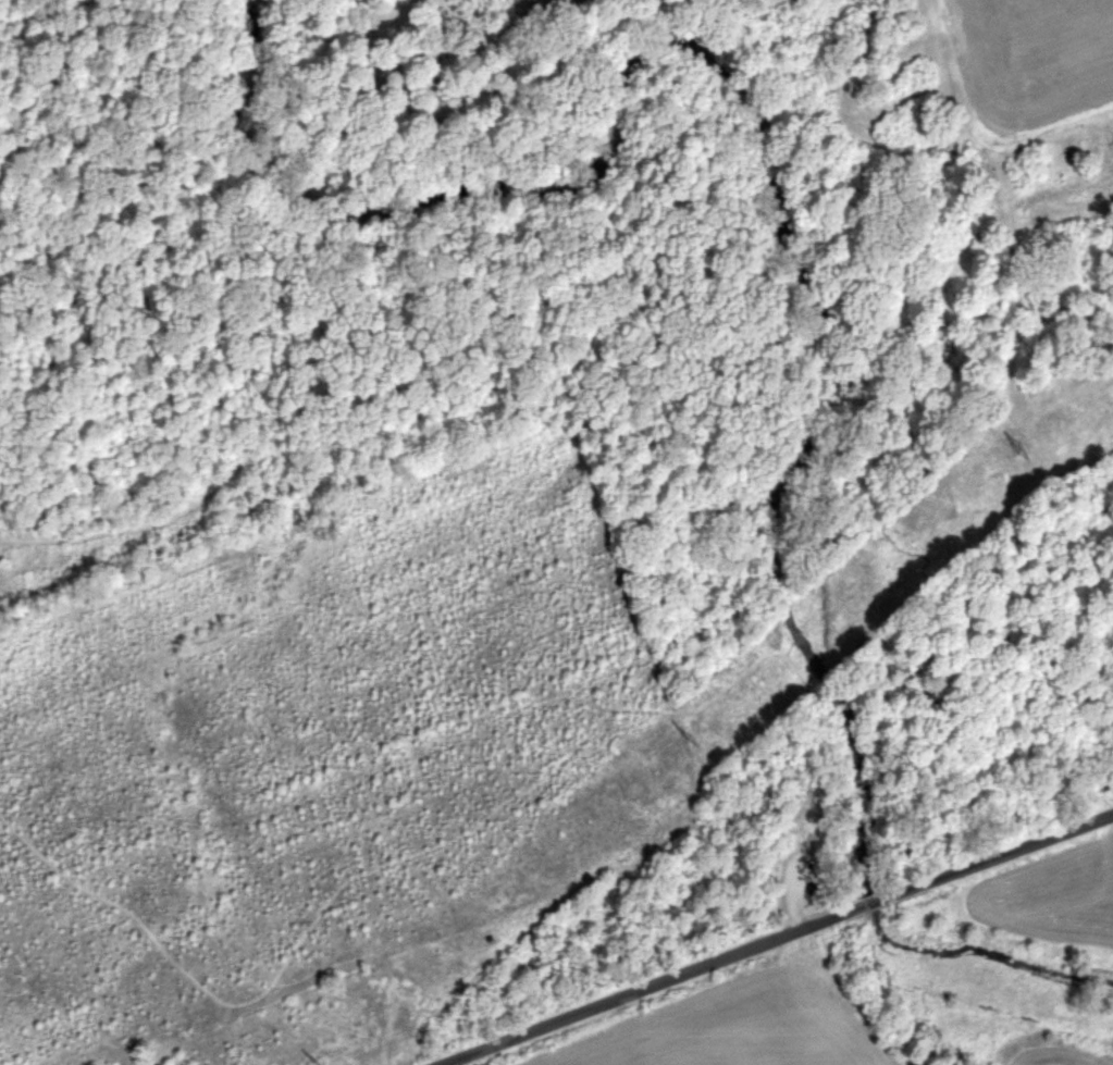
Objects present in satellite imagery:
road: (744, 206)
road: (270, 238)
road: (601, 308)
road: (296, 466)
road: (651, 500)
park: (401, 562)
road: (666, 630)
road: (701, 713)
road: (808, 721)
road: (993, 856)
parking lot: (797, 883)
road: (791, 896)
road: (864, 904)
road: (298, 946)
road: (646, 986)

